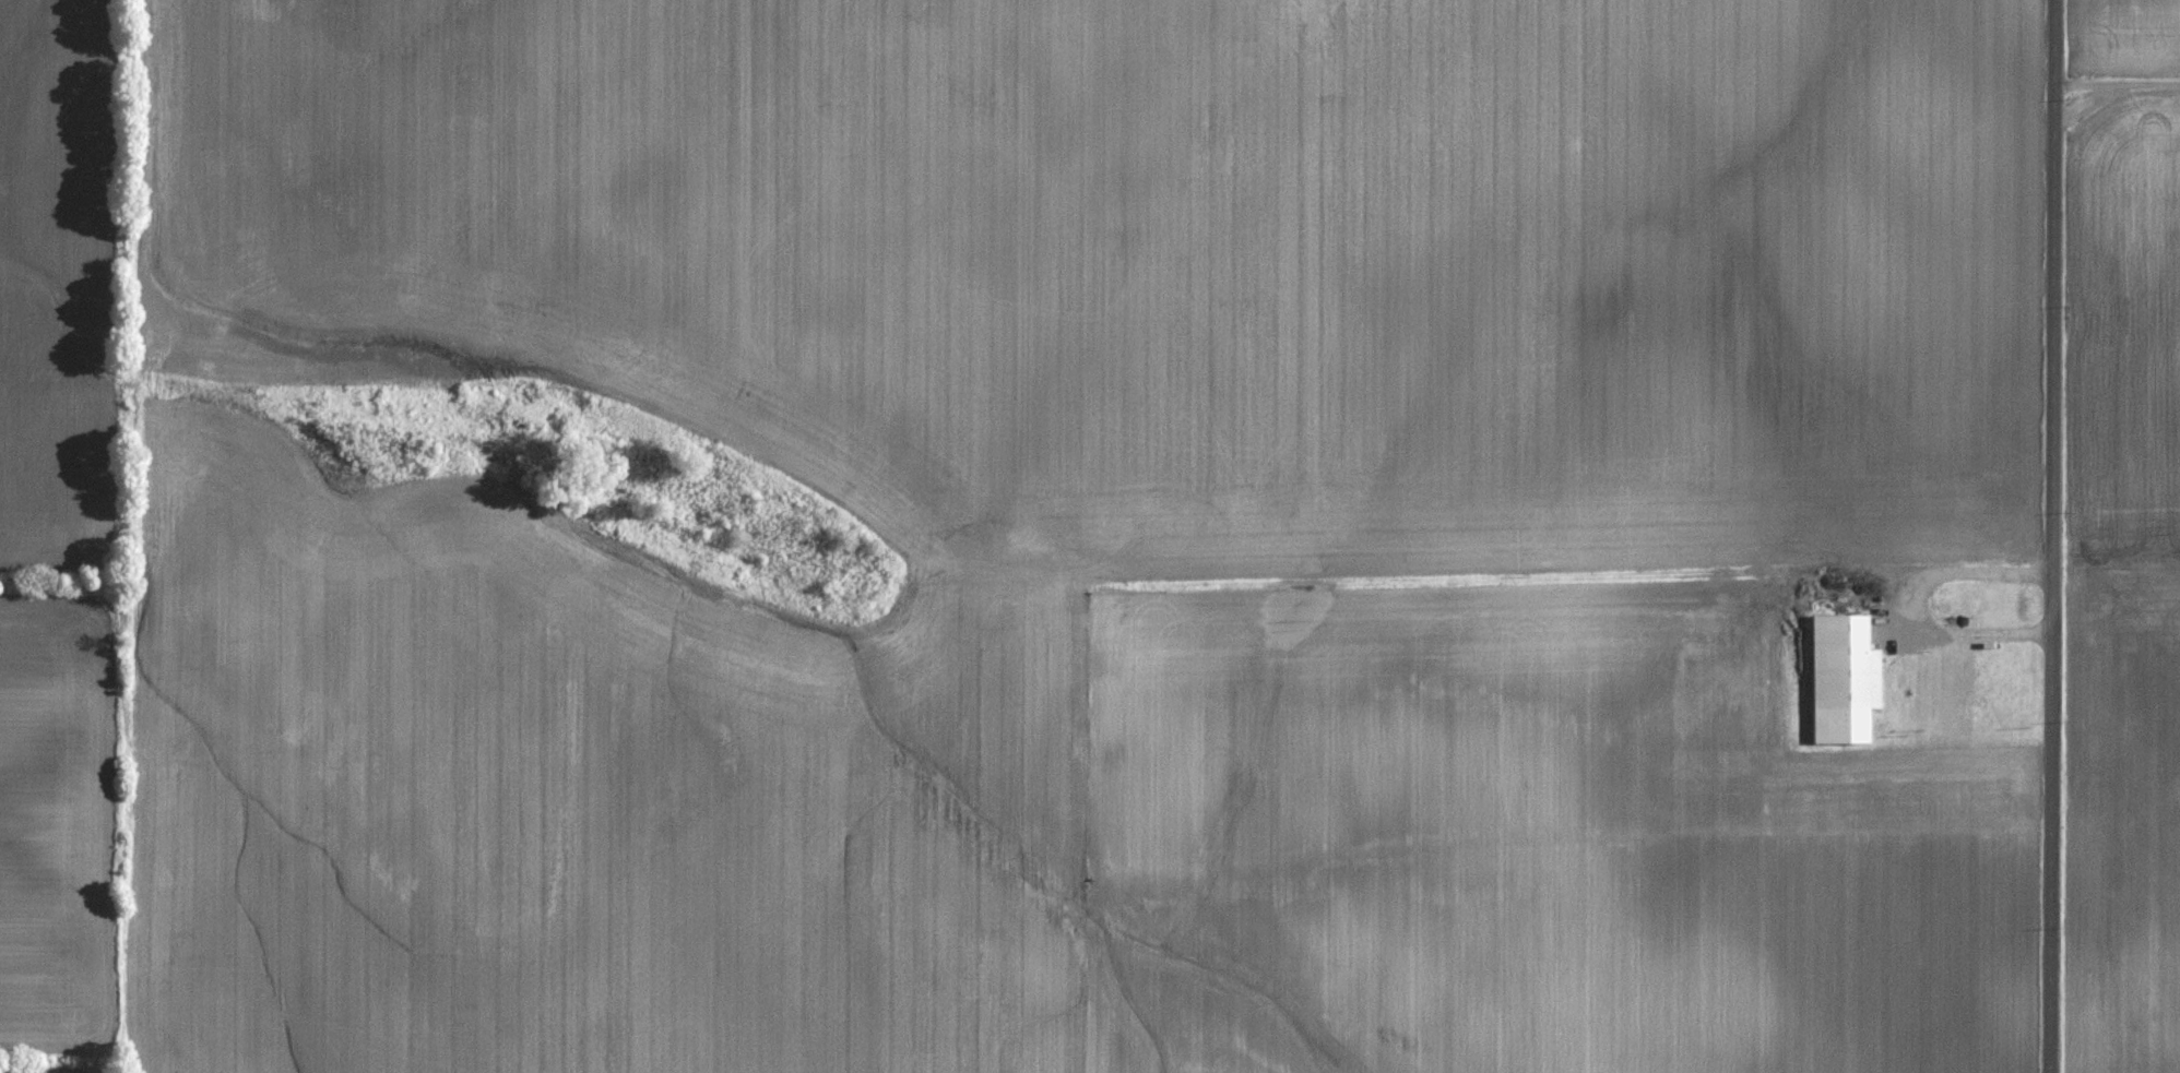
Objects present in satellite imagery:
crop: (2126, 34)
road: (2118, 81)
road: (2085, 102)
road: (2053, 536)
crop: (2128, 595)
road: (1911, 604)
building: (1844, 680)

